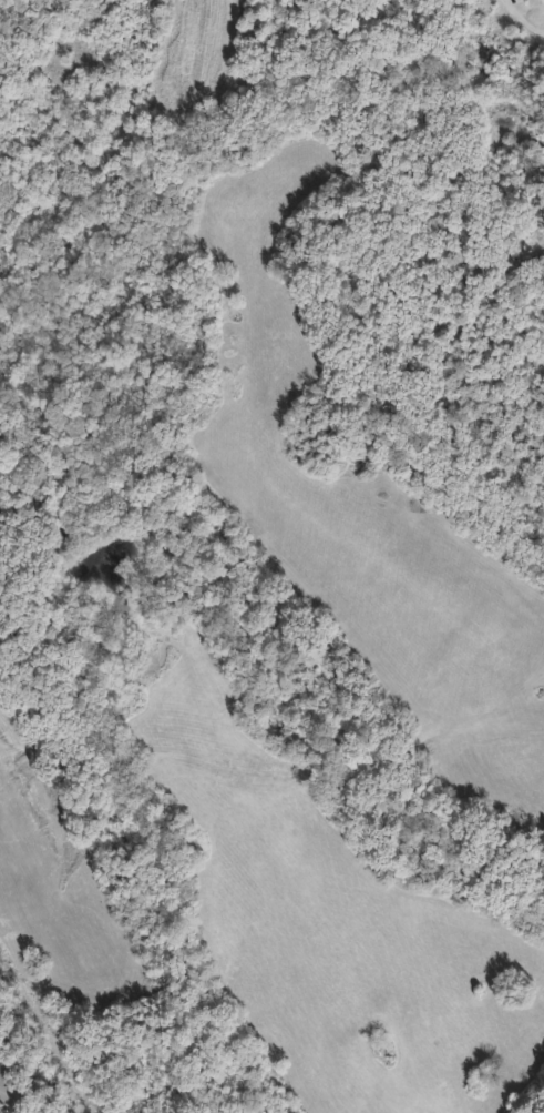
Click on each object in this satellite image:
building: (532, 259)
road: (45, 1032)

